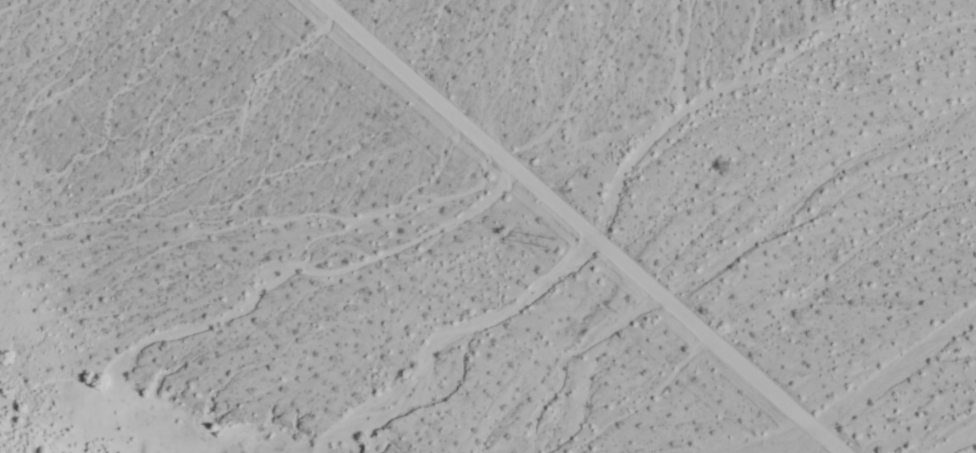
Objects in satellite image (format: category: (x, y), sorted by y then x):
road: (590, 226)
power tower: (554, 241)

